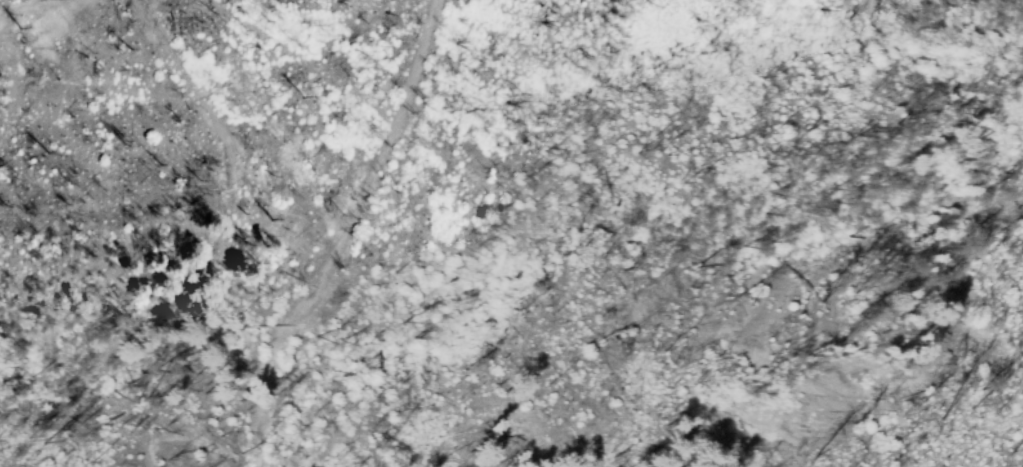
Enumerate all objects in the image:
road: (10, 1)
road: (347, 237)

